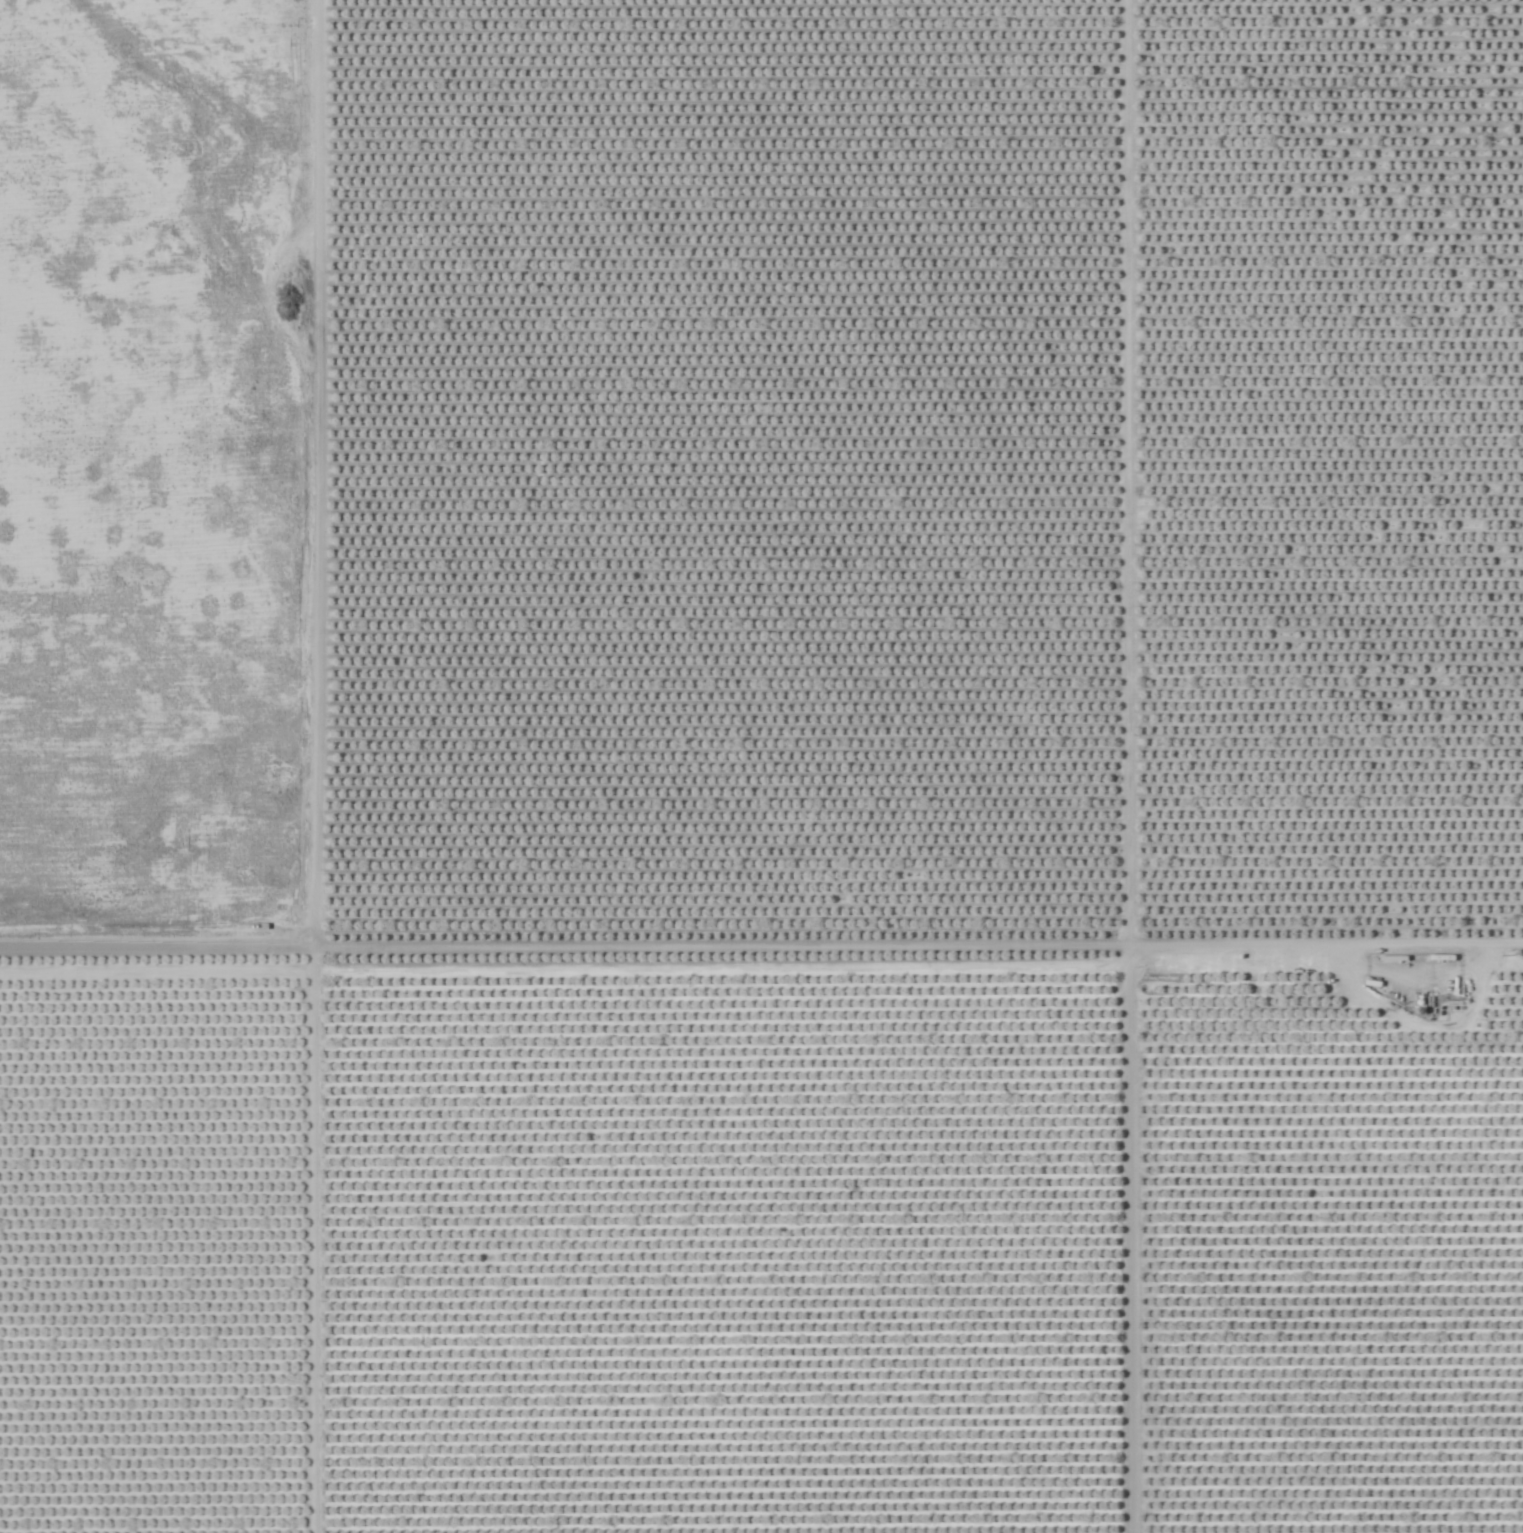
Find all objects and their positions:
building: (807, 35)
building: (1078, 182)
building: (923, 359)
crop: (850, 809)
road: (761, 958)

